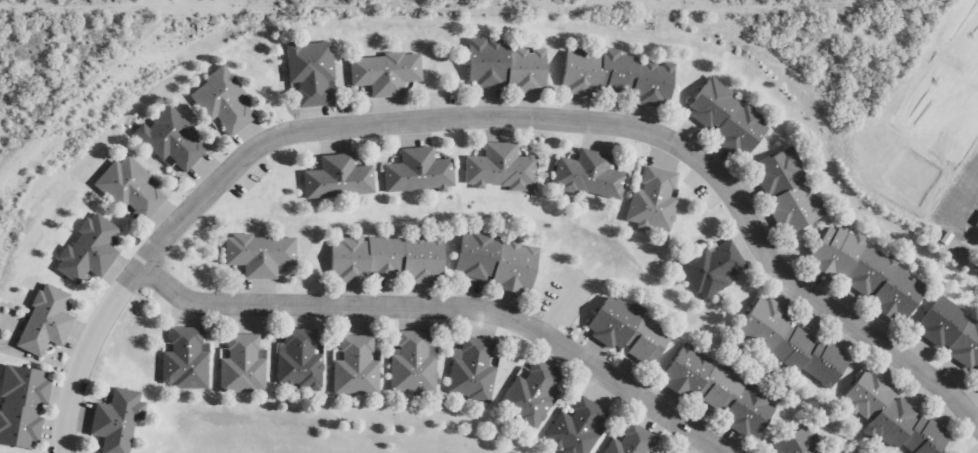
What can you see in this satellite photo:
building: (500, 67)
building: (304, 72)
building: (378, 73)
building: (612, 77)
building: (216, 102)
building: (720, 118)
road: (594, 121)
building: (165, 140)
building: (495, 168)
building: (411, 172)
building: (582, 176)
building: (331, 178)
building: (124, 188)
building: (780, 191)
building: (647, 199)
building: (81, 250)
building: (253, 254)
building: (379, 259)
building: (491, 262)
building: (706, 268)
building: (859, 273)
road: (442, 308)
building: (39, 321)
building: (622, 331)
building: (948, 336)
building: (784, 343)
road: (81, 350)
building: (293, 359)
building: (179, 360)
building: (406, 362)
building: (235, 364)
building: (350, 366)
building: (466, 370)
building: (712, 392)
building: (524, 396)
building: (18, 407)
building: (887, 418)
building: (110, 420)
building: (570, 428)
building: (626, 441)
building: (788, 443)

